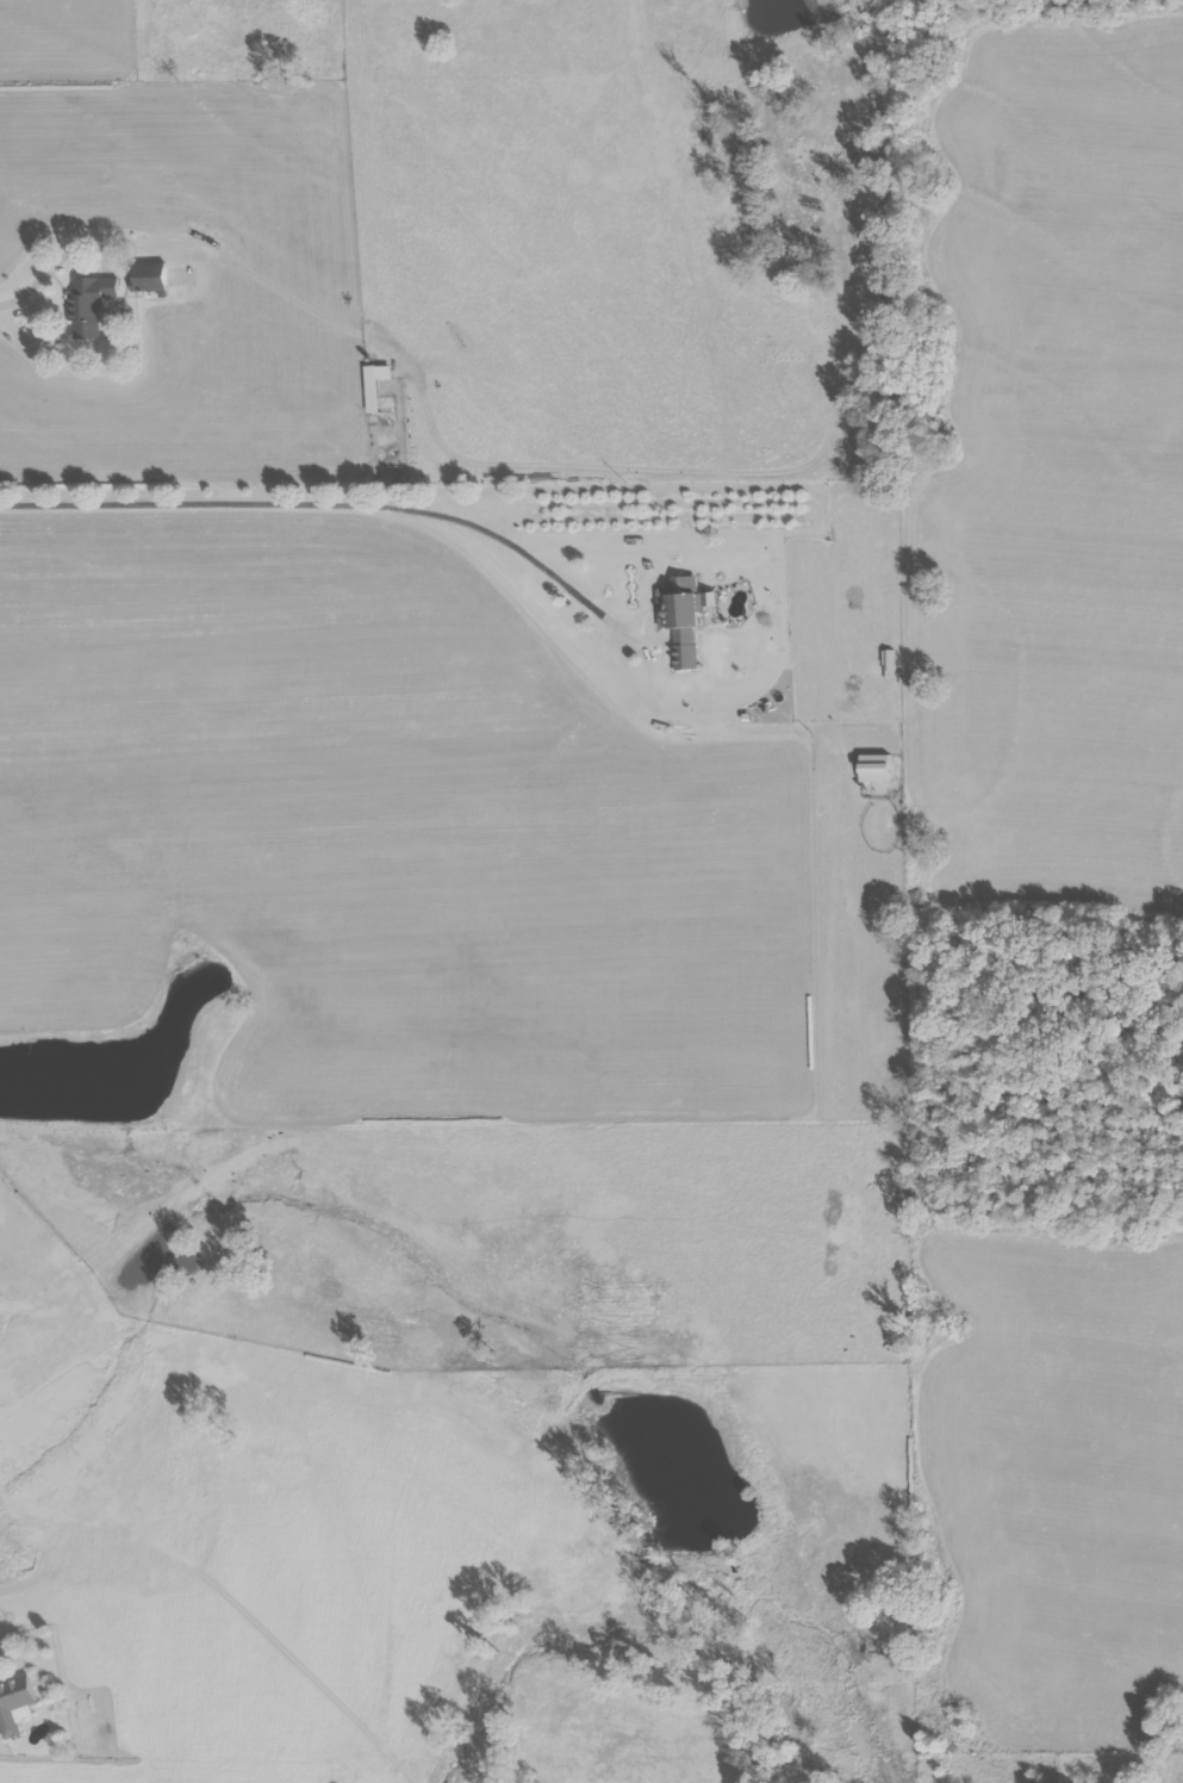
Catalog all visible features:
building: (149, 278)
building: (91, 305)
building: (374, 384)
building: (683, 616)
building: (874, 768)
building: (884, 827)
building: (19, 1704)

